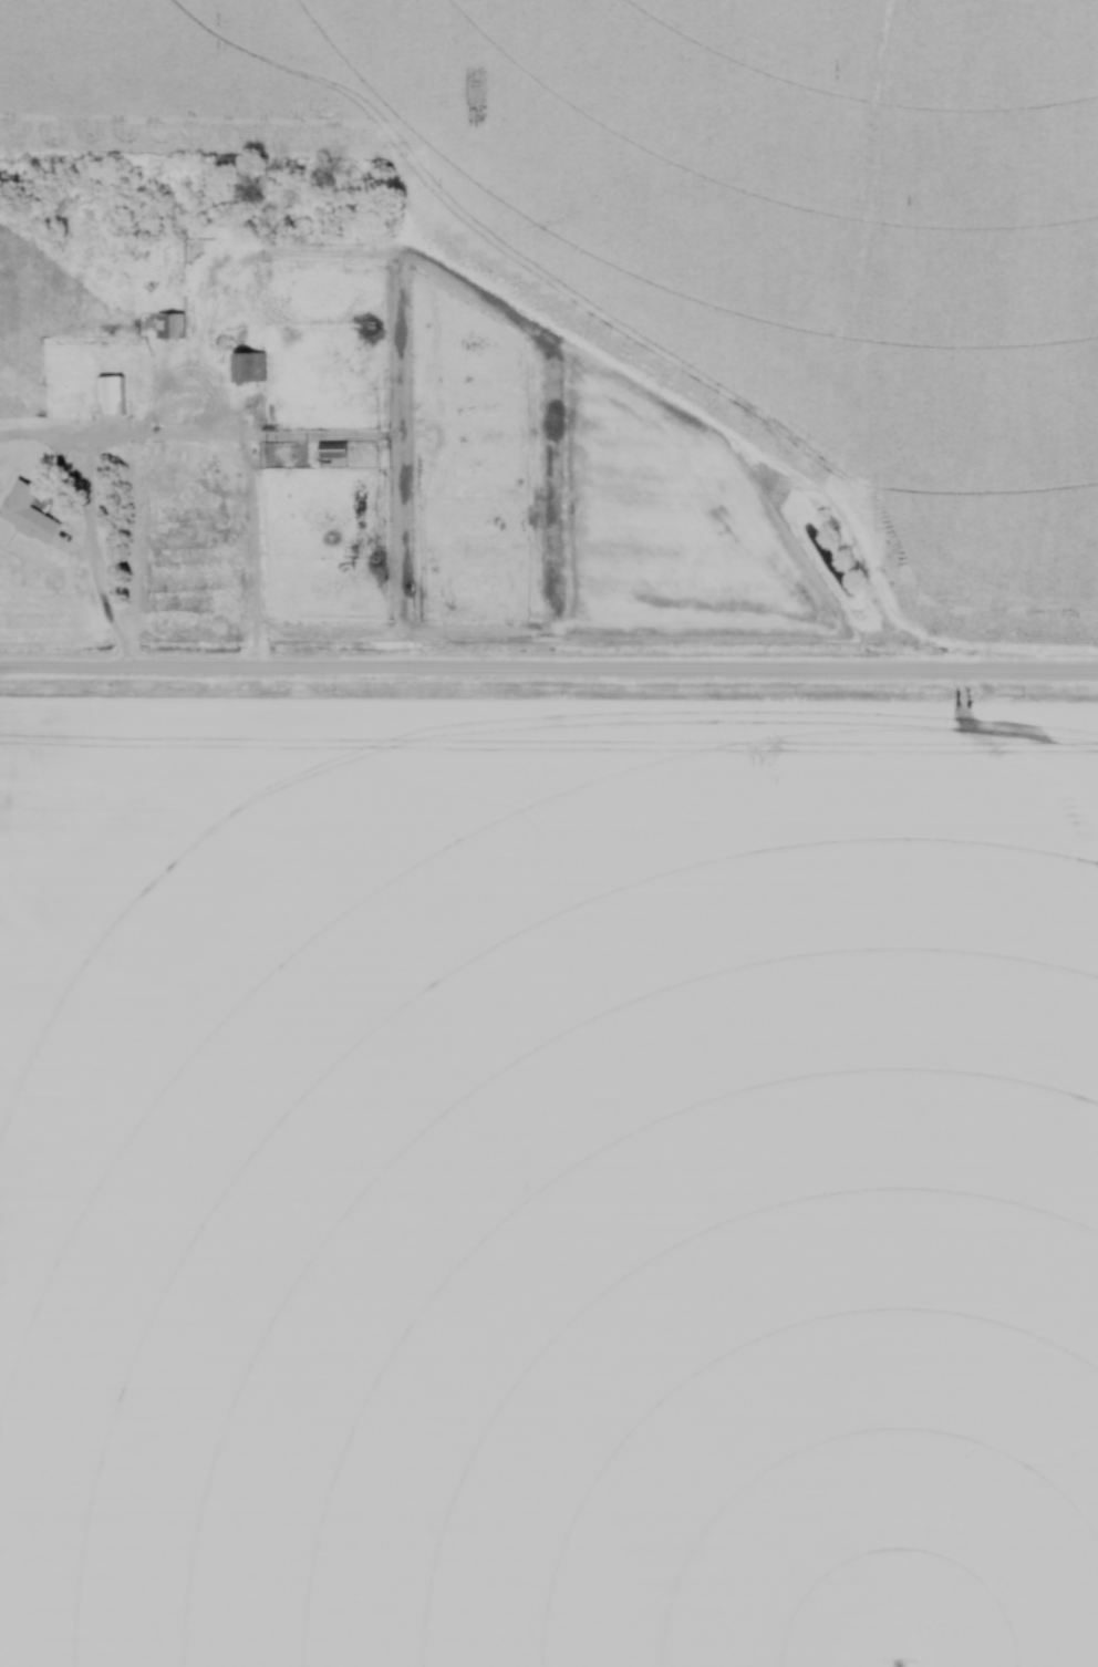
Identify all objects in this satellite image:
crop: (723, 219)
building: (172, 321)
building: (248, 367)
building: (110, 395)
road: (114, 432)
building: (333, 449)
building: (29, 511)
road: (92, 556)
road: (548, 669)
crop: (548, 1180)

